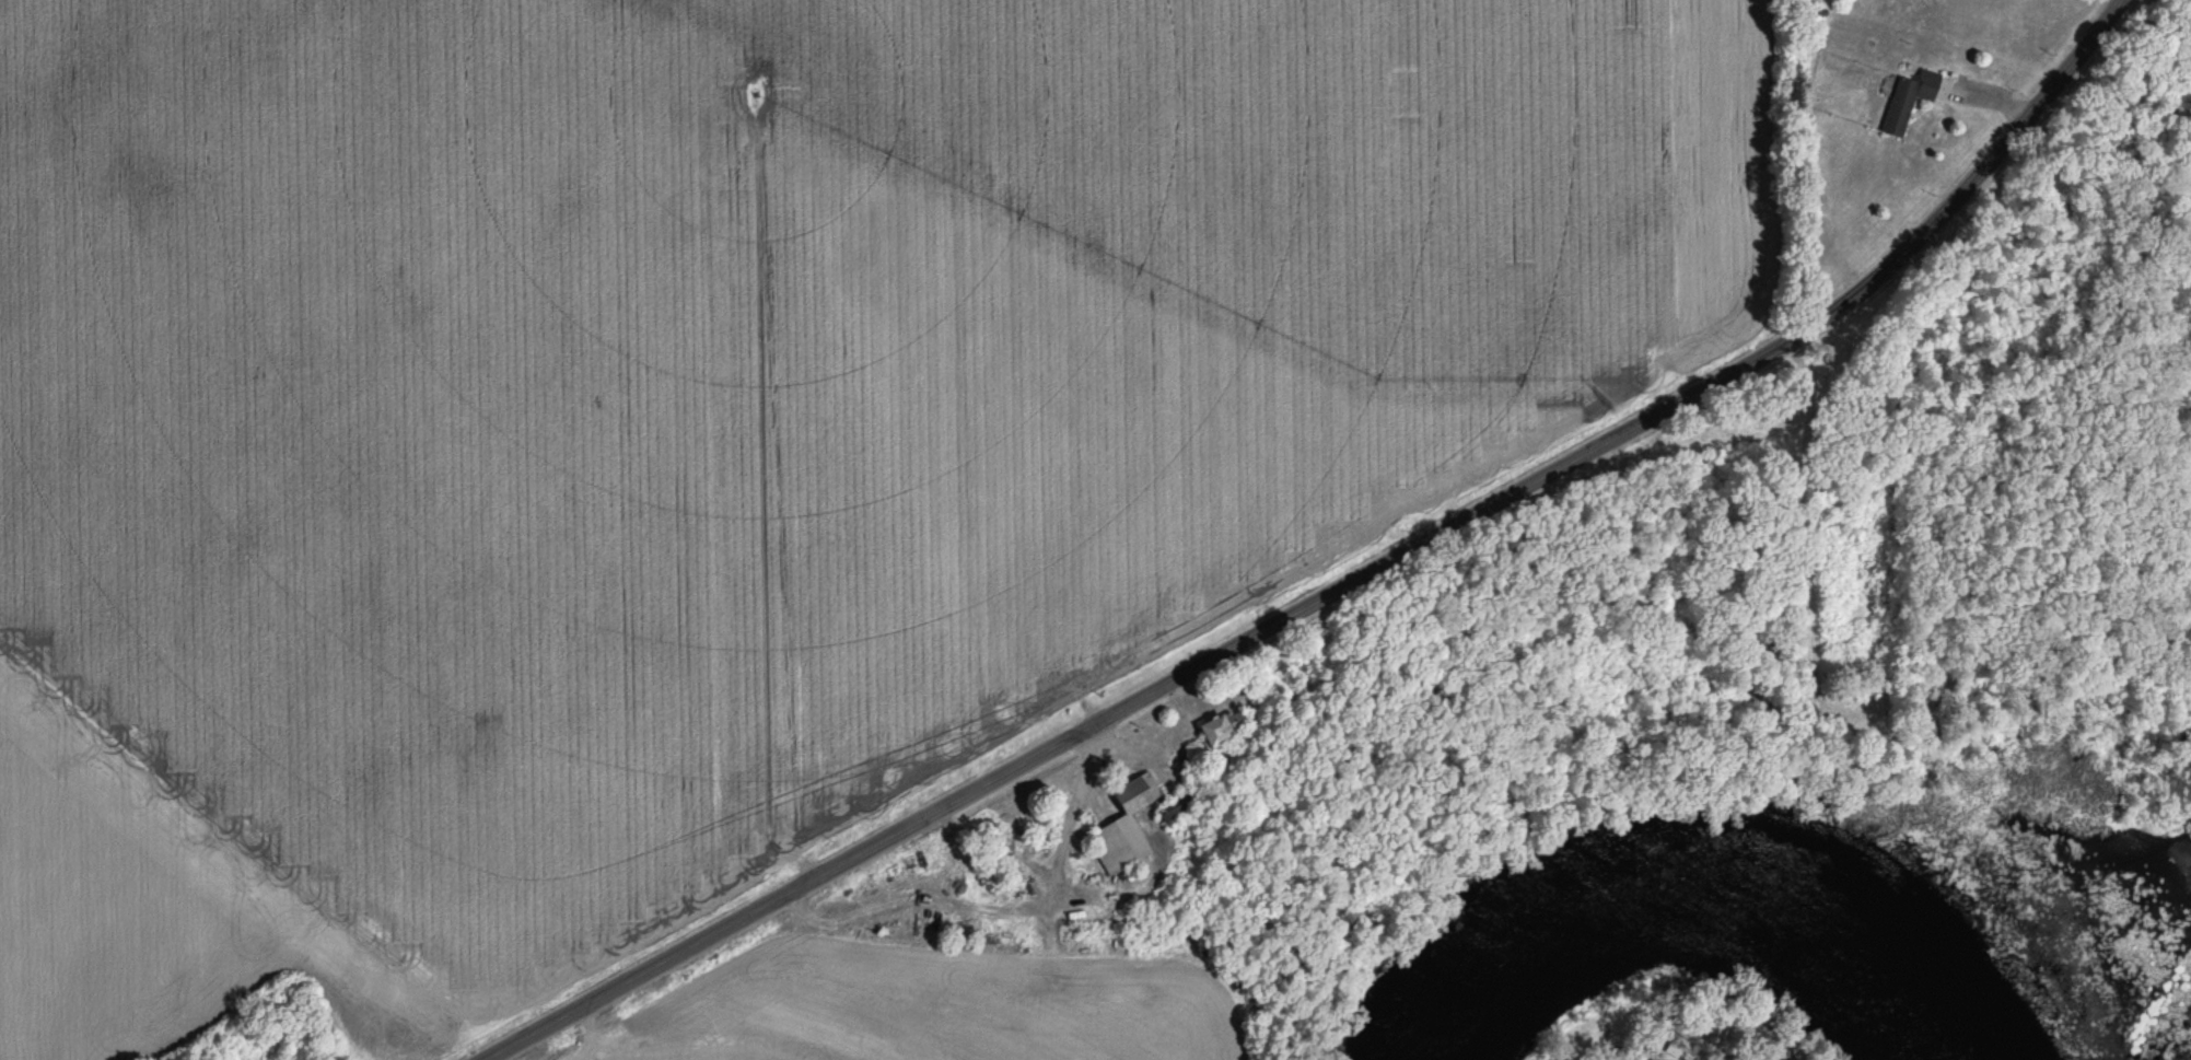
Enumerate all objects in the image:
building: (1904, 101)
road: (1350, 589)
building: (1122, 827)
river: (1755, 892)

